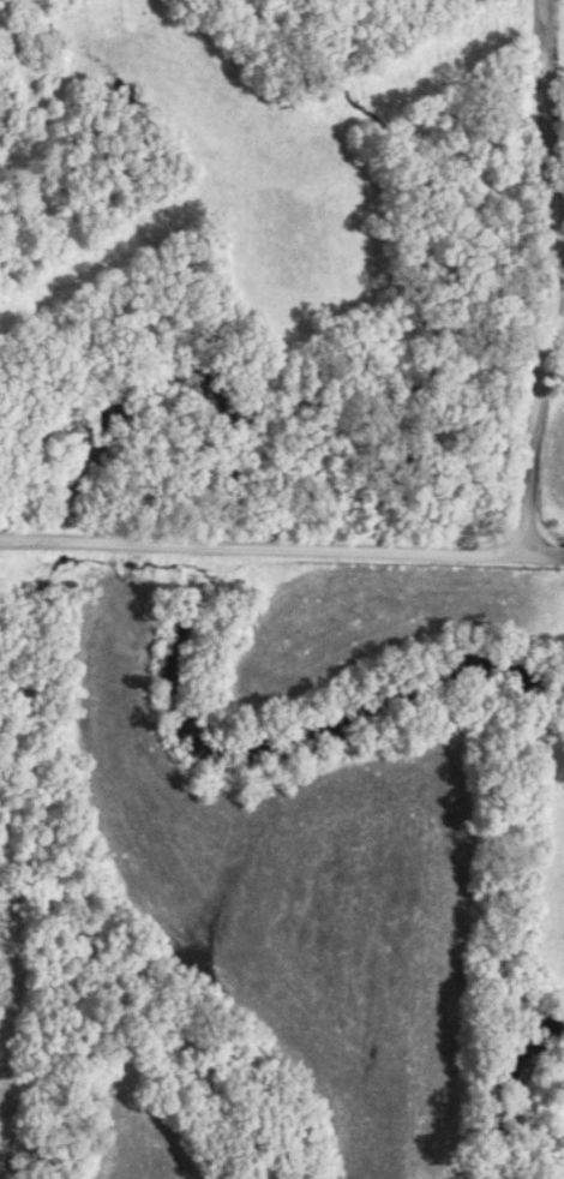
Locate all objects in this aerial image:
road: (563, 279)
road: (282, 547)

